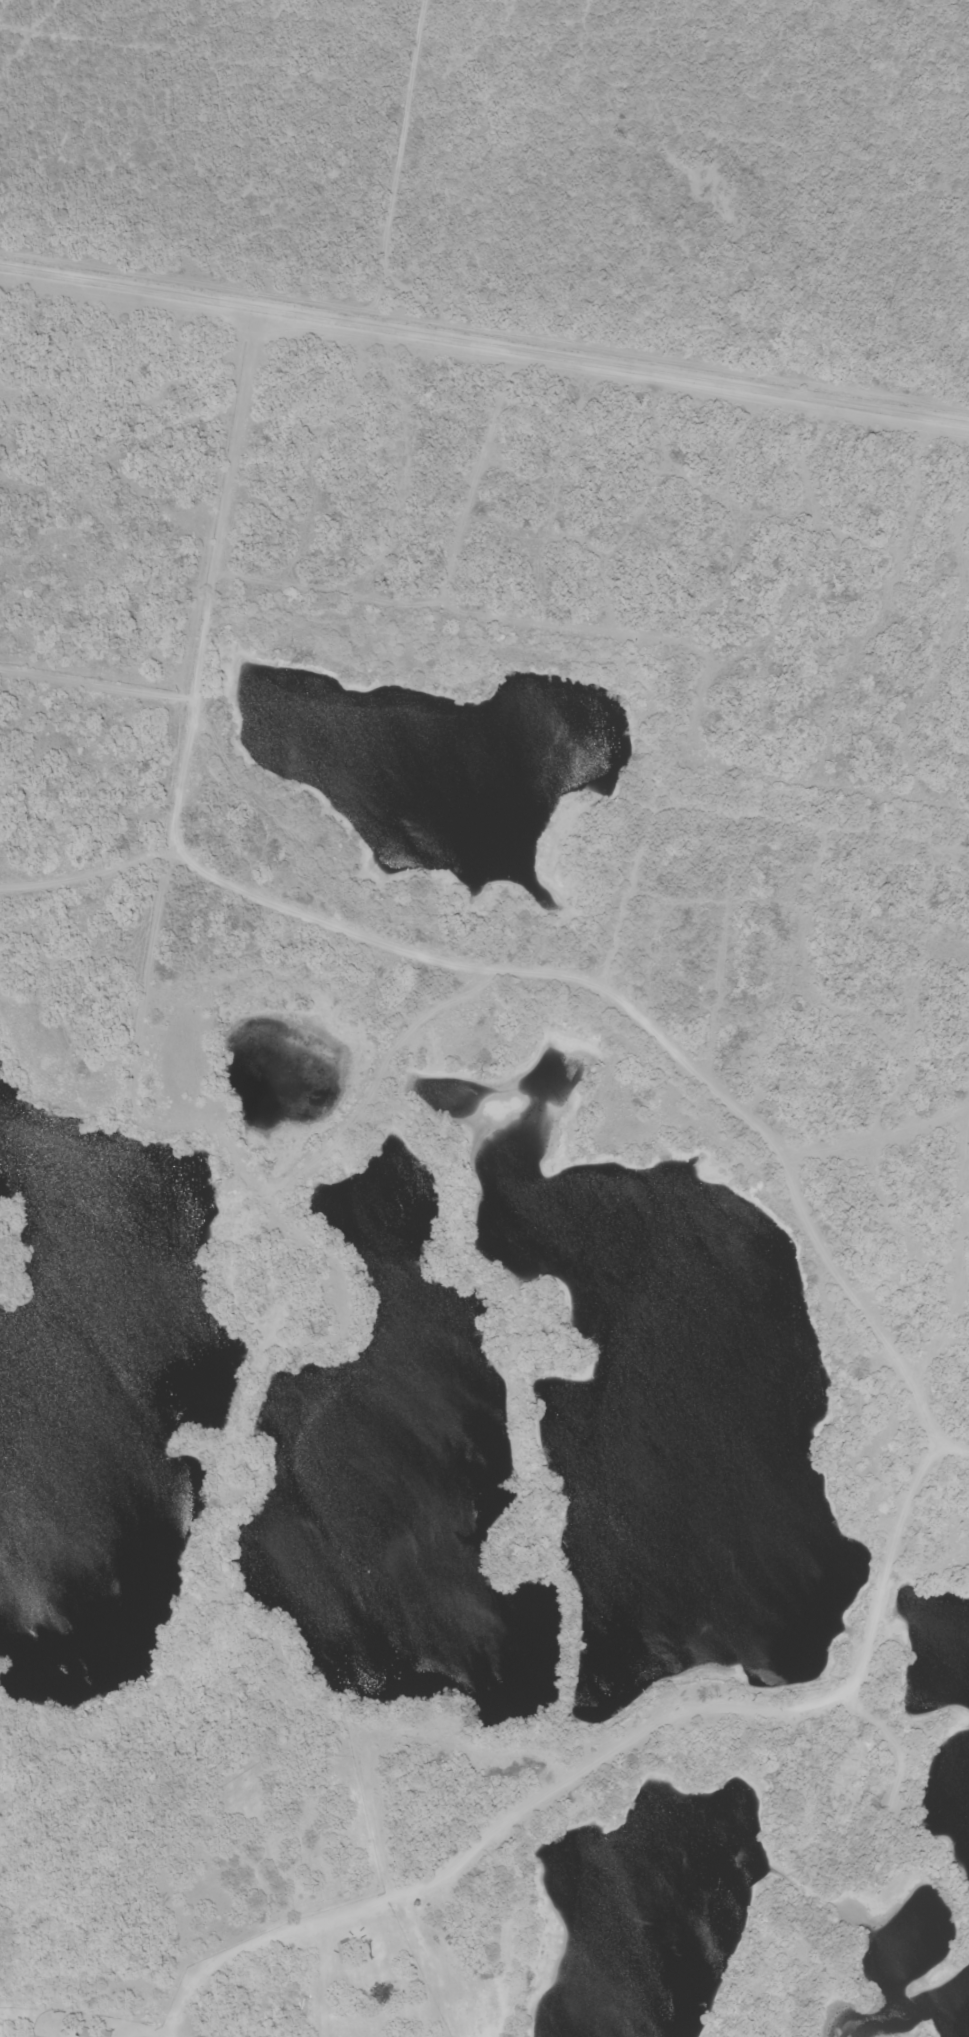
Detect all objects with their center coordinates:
road: (407, 127)
building: (94, 2033)

